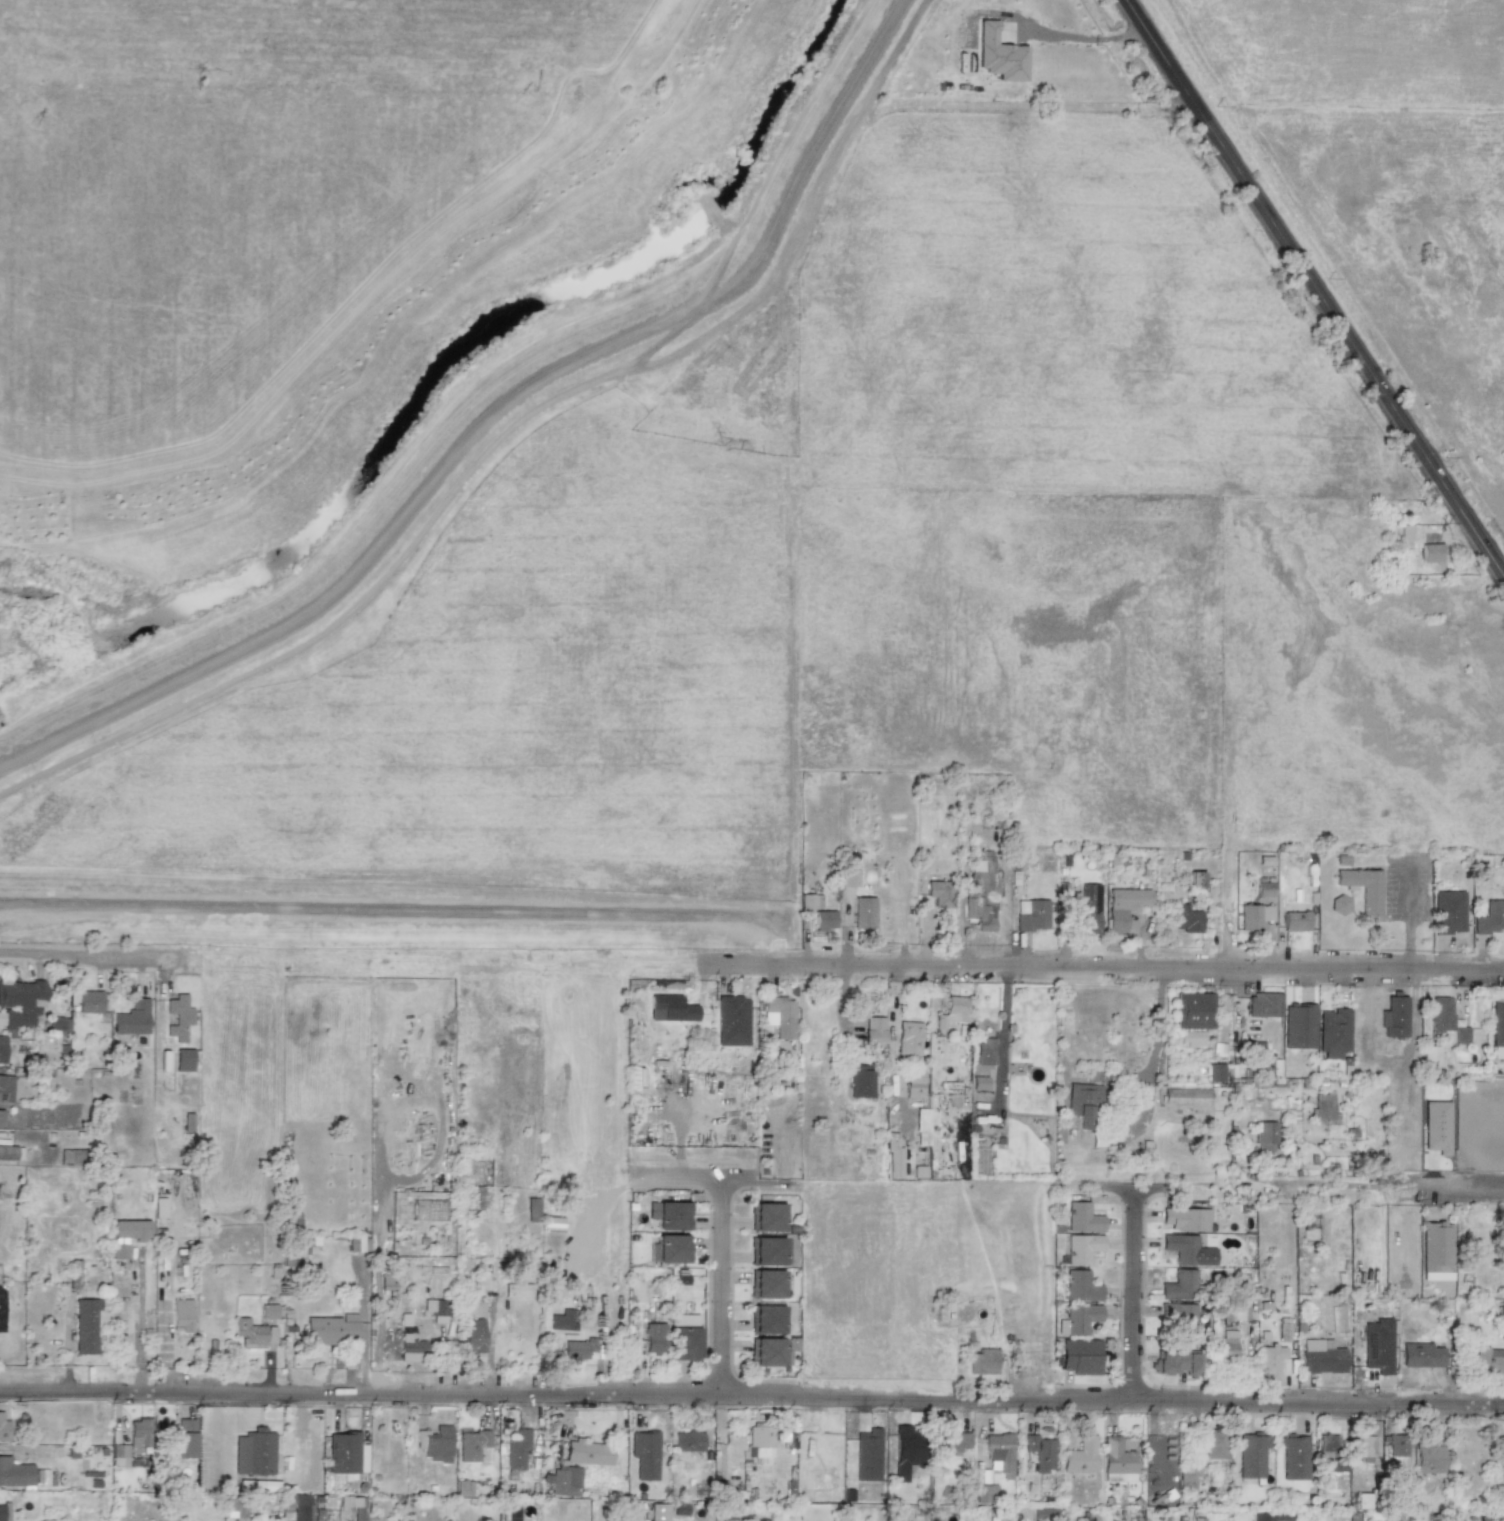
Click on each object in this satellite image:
road: (1081, 38)
building: (998, 54)
road: (1316, 288)
road: (490, 415)
crop: (574, 421)
building: (1405, 536)
building: (1431, 553)
building: (848, 878)
building: (1194, 881)
building: (980, 888)
building: (1362, 888)
building: (940, 889)
building: (1265, 889)
building: (810, 901)
building: (1340, 905)
building: (1125, 906)
building: (864, 912)
building: (1087, 912)
building: (1447, 912)
building: (1031, 915)
building: (1253, 916)
building: (1490, 918)
building: (1187, 919)
building: (824, 920)
building: (1295, 921)
road: (87, 953)
road: (1109, 968)
building: (89, 1001)
building: (21, 1004)
building: (1264, 1005)
building: (1193, 1010)
building: (952, 1011)
building: (1441, 1014)
building: (780, 1016)
building: (178, 1017)
building: (1394, 1017)
building: (132, 1018)
building: (732, 1021)
building: (59, 1023)
building: (1299, 1026)
building: (874, 1030)
building: (1497, 1032)
building: (1333, 1033)
building: (1461, 1035)
building: (909, 1038)
building: (1191, 1038)
road: (1002, 1040)
road: (1156, 1040)
building: (2, 1048)
building: (984, 1052)
building: (1430, 1056)
building: (183, 1060)
building: (164, 1061)
building: (1214, 1072)
building: (634, 1080)
building: (860, 1081)
building: (979, 1083)
building: (914, 1084)
building: (6, 1088)
building: (1082, 1102)
building: (1323, 1107)
building: (0, 1115)
building: (188, 1122)
building: (921, 1126)
building: (1264, 1136)
building: (15, 1152)
building: (69, 1157)
building: (892, 1157)
road: (714, 1186)
road: (1278, 1189)
building: (159, 1207)
building: (532, 1210)
building: (669, 1215)
building: (765, 1217)
building: (291, 1218)
building: (1082, 1218)
building: (1185, 1219)
building: (131, 1230)
building: (354, 1243)
building: (1082, 1248)
building: (669, 1249)
building: (1187, 1250)
building: (119, 1251)
building: (300, 1251)
building: (769, 1251)
building: (1436, 1251)
building: (275, 1270)
building: (770, 1284)
building: (1179, 1285)
building: (1080, 1286)
building: (517, 1290)
road: (720, 1290)
road: (1130, 1293)
building: (435, 1310)
building: (1501, 1310)
building: (270, 1311)
building: (1234, 1312)
building: (177, 1314)
building: (1179, 1316)
building: (1078, 1318)
building: (766, 1319)
building: (563, 1320)
building: (85, 1325)
building: (332, 1329)
building: (253, 1333)
building: (1283, 1333)
building: (473, 1336)
building: (685, 1337)
building: (654, 1338)
building: (1226, 1345)
building: (1377, 1345)
building: (410, 1348)
road: (490, 1348)
building: (577, 1349)
building: (766, 1352)
building: (1421, 1355)
building: (1080, 1356)
building: (1321, 1357)
building: (983, 1361)
building: (1270, 1361)
building: (1489, 1362)
building: (1177, 1363)
road: (751, 1394)
road: (215, 1396)
road: (251, 1397)
road: (252, 1413)
building: (4, 1429)
building: (139, 1433)
building: (181, 1440)
building: (688, 1441)
building: (953, 1441)
road: (215, 1443)
building: (435, 1443)
building: (472, 1443)
building: (758, 1443)
building: (1214, 1444)
building: (1397, 1445)
building: (1363, 1446)
building: (517, 1450)
building: (905, 1451)
building: (1501, 1451)
building: (254, 1452)
building: (587, 1452)
building: (1329, 1452)
building: (346, 1453)
building: (999, 1453)
building: (1040, 1453)
building: (645, 1454)
building: (867, 1455)
building: (1251, 1455)
building: (1081, 1456)
building: (1428, 1456)
building: (1293, 1457)
building: (124, 1458)
building: (1118, 1460)
building: (15, 1473)
building: (824, 1480)
building: (563, 1481)
building: (466, 1488)
building: (985, 1493)
building: (1362, 1501)
building: (299, 1506)
building: (4, 1512)
building: (659, 1512)
building: (1259, 1516)

